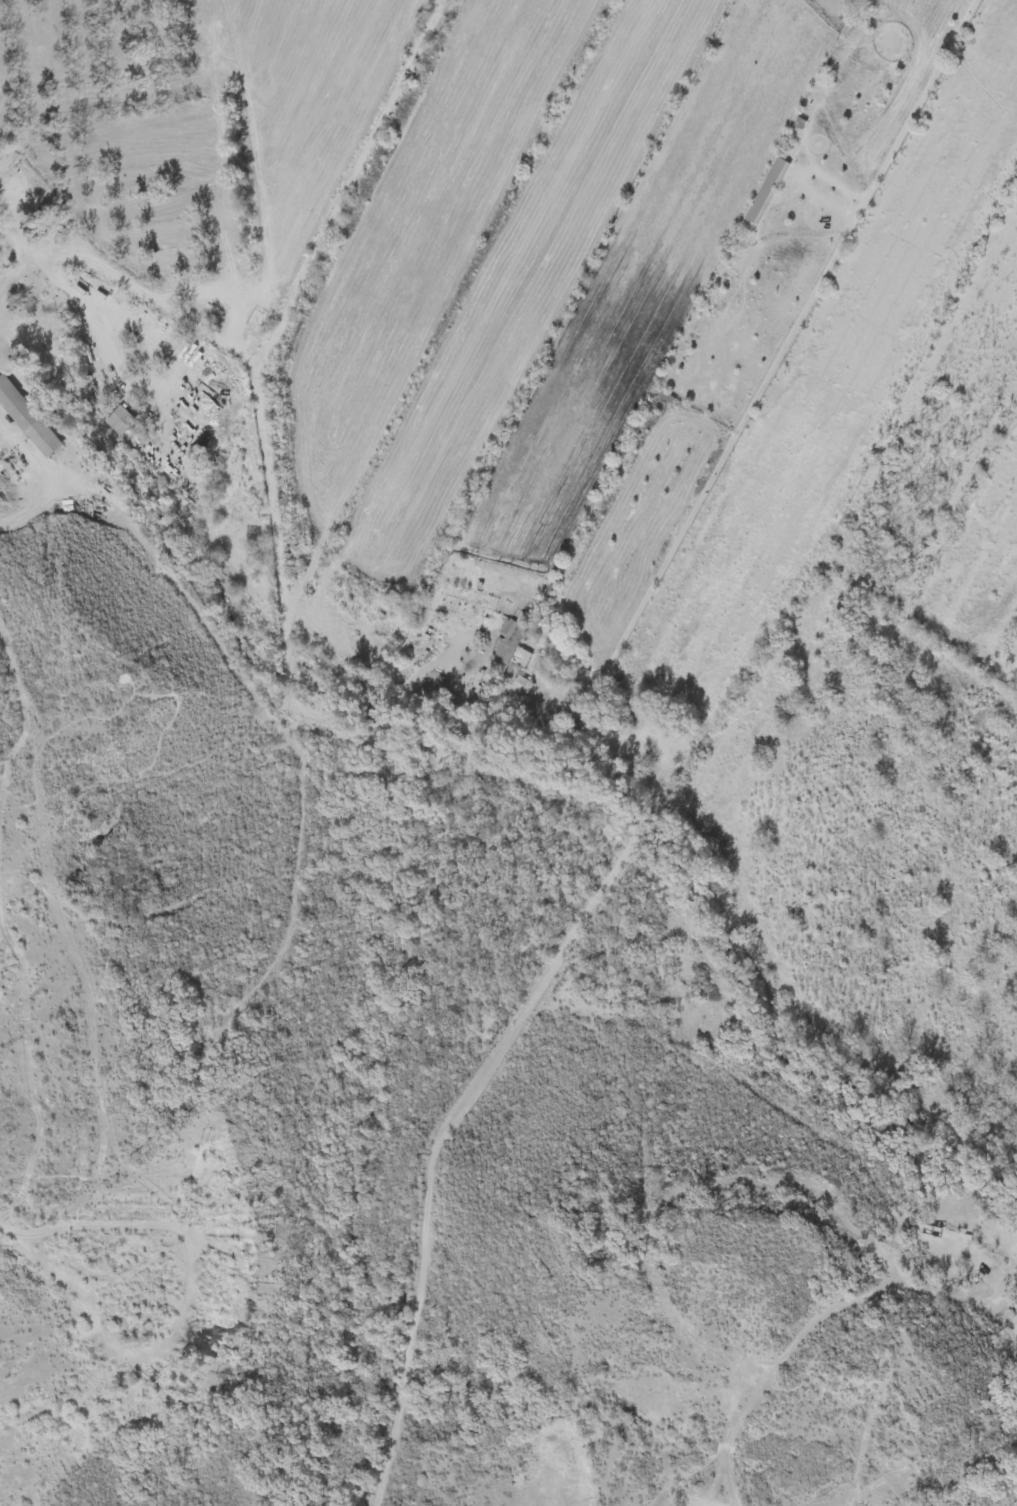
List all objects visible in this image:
road: (352, 183)

